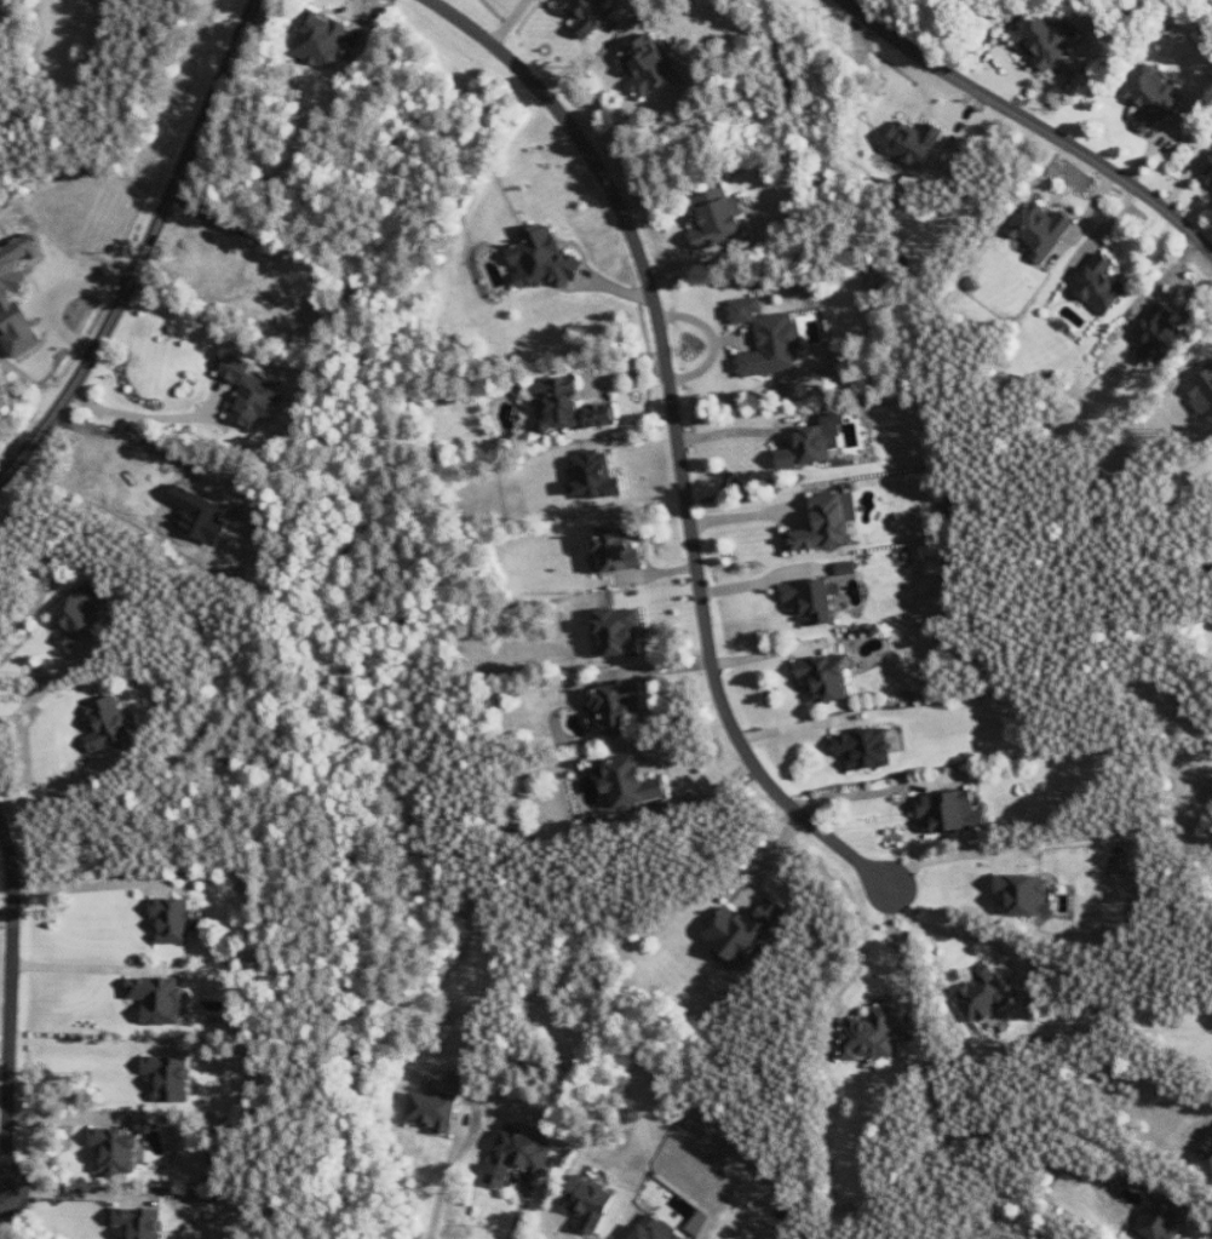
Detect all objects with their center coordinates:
building: (590, 15)
building: (322, 40)
building: (1046, 42)
building: (649, 64)
building: (1153, 97)
road: (1035, 124)
building: (914, 143)
building: (1208, 174)
building: (717, 218)
building: (1042, 230)
road: (144, 246)
building: (542, 259)
building: (1101, 286)
building: (6, 296)
building: (1160, 334)
building: (768, 339)
building: (253, 392)
building: (570, 407)
road: (149, 417)
road: (678, 438)
building: (816, 442)
building: (597, 475)
road: (747, 514)
building: (831, 523)
building: (619, 547)
building: (849, 568)
building: (814, 601)
building: (82, 614)
building: (621, 631)
building: (827, 677)
road: (45, 687)
building: (618, 707)
building: (110, 723)
building: (867, 748)
road: (61, 784)
building: (631, 784)
road: (697, 796)
building: (953, 811)
road: (90, 883)
building: (1026, 895)
road: (6, 919)
building: (177, 919)
road: (947, 931)
building: (742, 933)
road: (897, 953)
road: (87, 966)
building: (983, 994)
building: (161, 999)
road: (11, 1002)
building: (871, 1034)
road: (82, 1039)
road: (5, 1042)
building: (171, 1078)
building: (436, 1111)
road: (67, 1117)
building: (117, 1151)
building: (521, 1154)
road: (444, 1171)
road: (74, 1191)
road: (2, 1192)
building: (591, 1203)
building: (1164, 1217)

